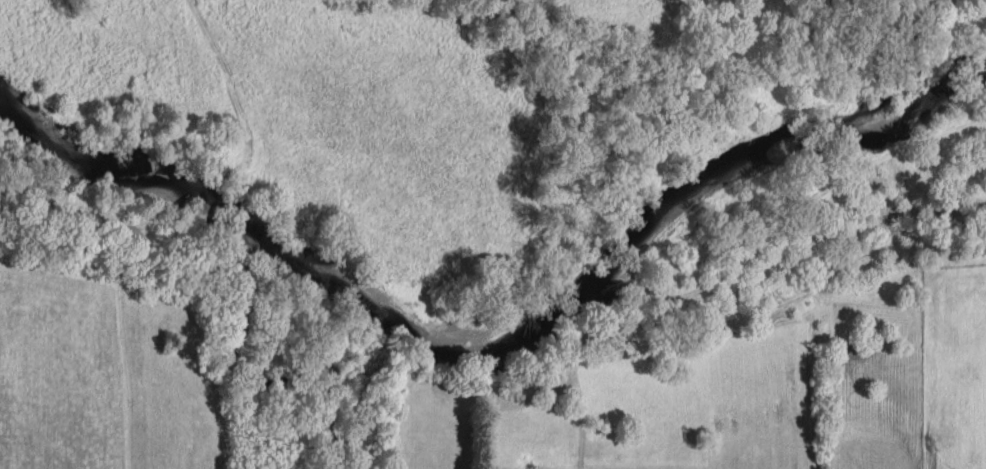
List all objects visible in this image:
river: (498, 349)

